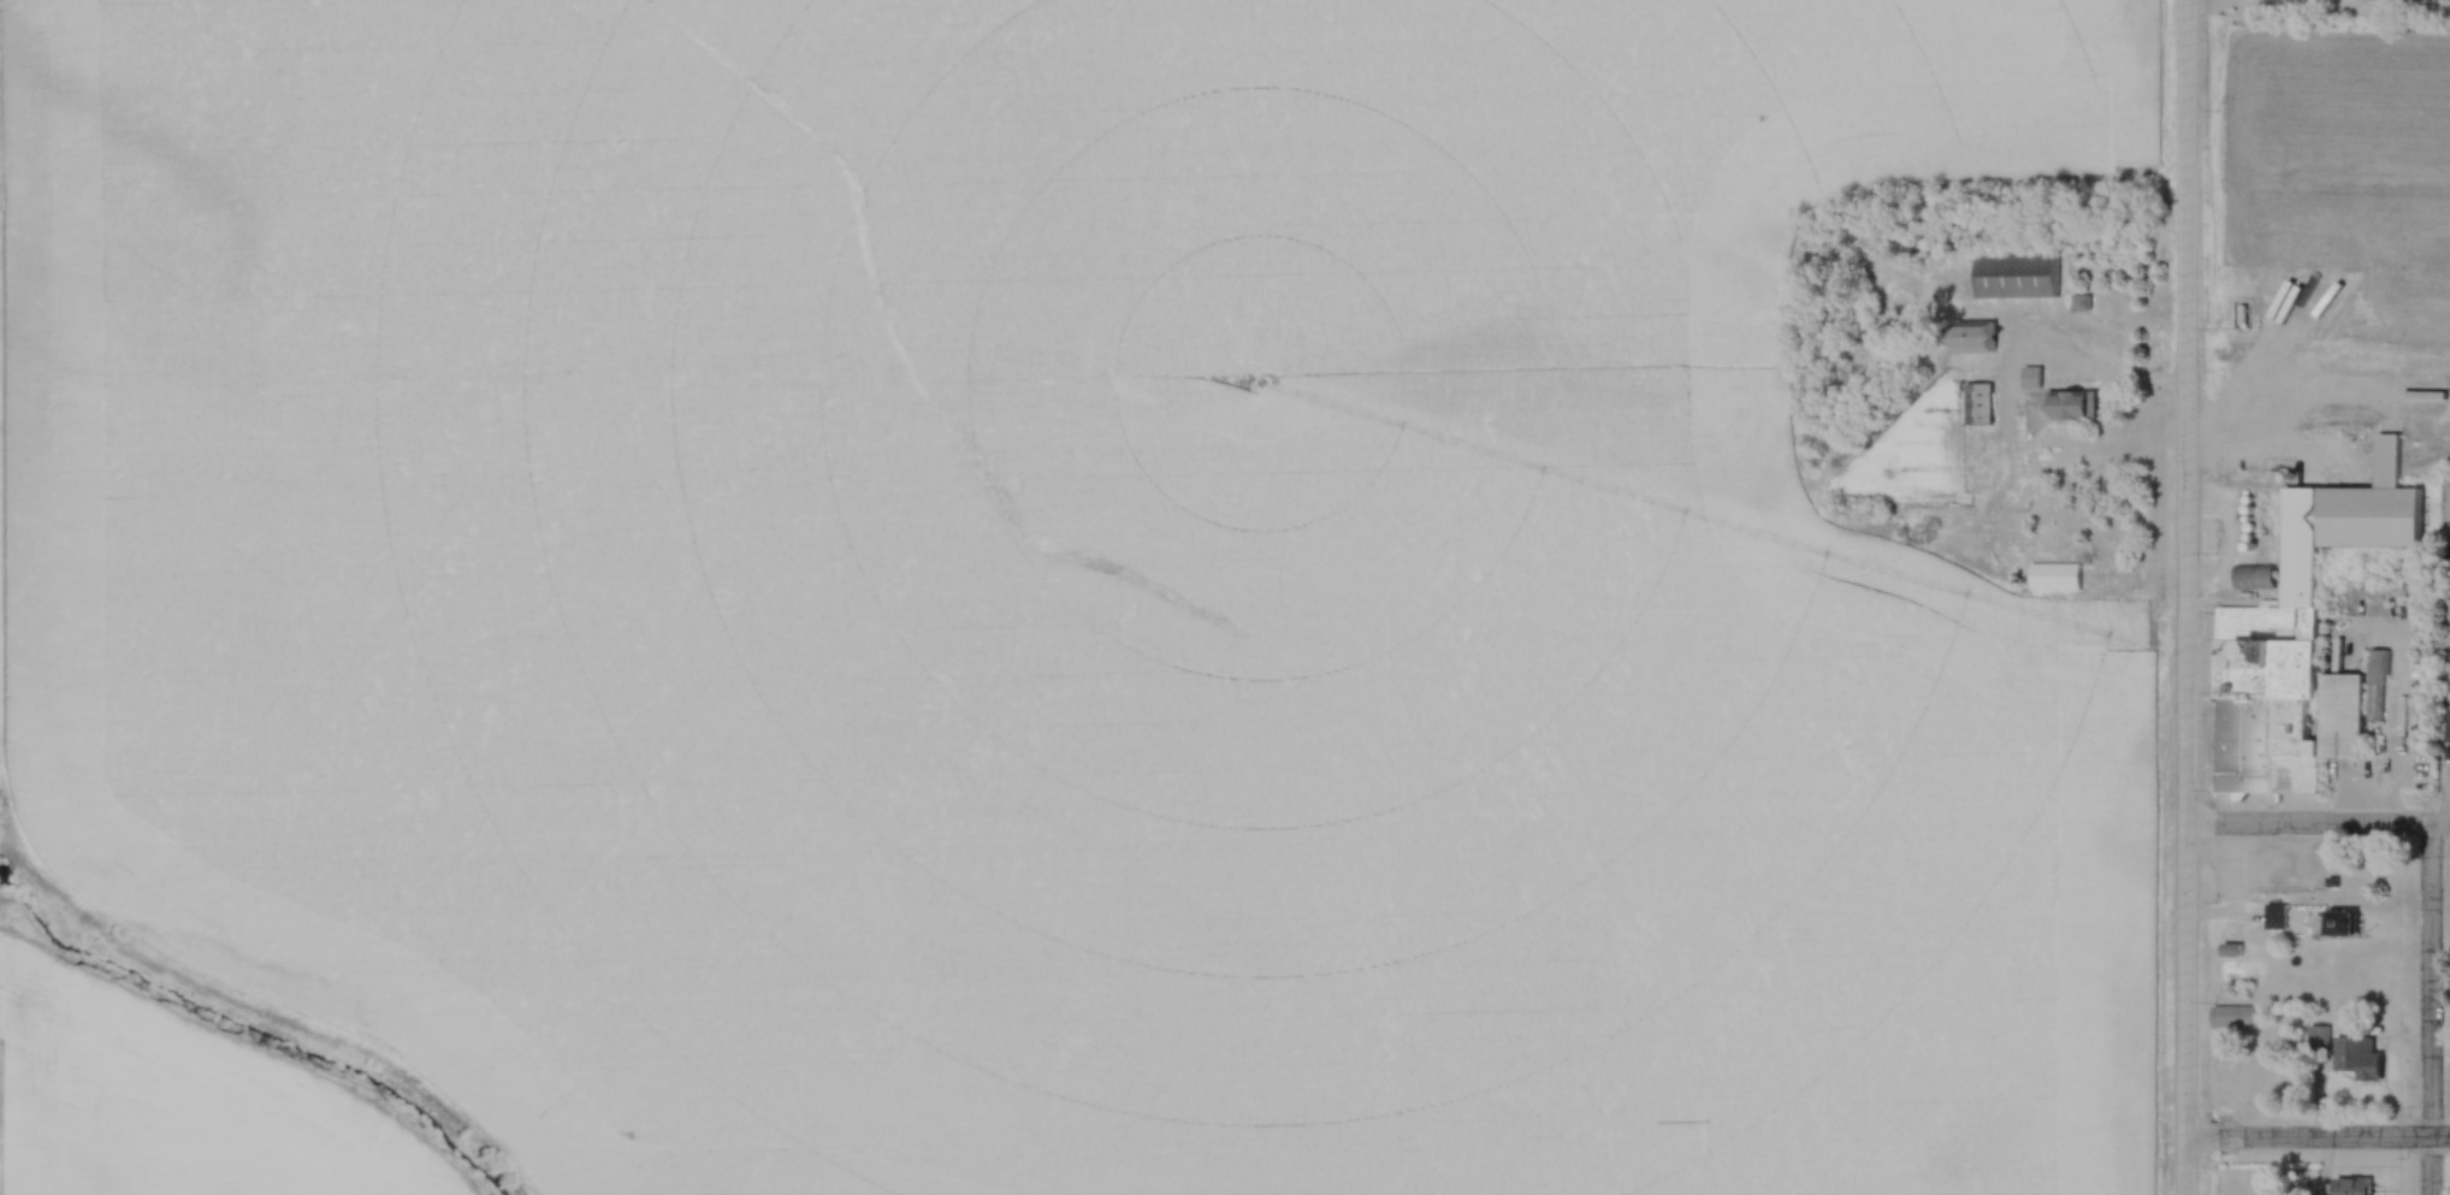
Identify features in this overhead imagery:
building: (2025, 276)
building: (1984, 338)
road: (2090, 373)
building: (2036, 377)
building: (1983, 403)
building: (2078, 404)
building: (2060, 575)
building: (2259, 575)
road: (2185, 597)
building: (2035, 633)
building: (2310, 640)
road: (2318, 821)
building: (2279, 916)
building: (2349, 923)
building: (2235, 948)
road: (2428, 1007)
building: (2238, 1016)
building: (2322, 1036)
building: (2366, 1054)
road: (2316, 1135)
building: (2361, 1185)

